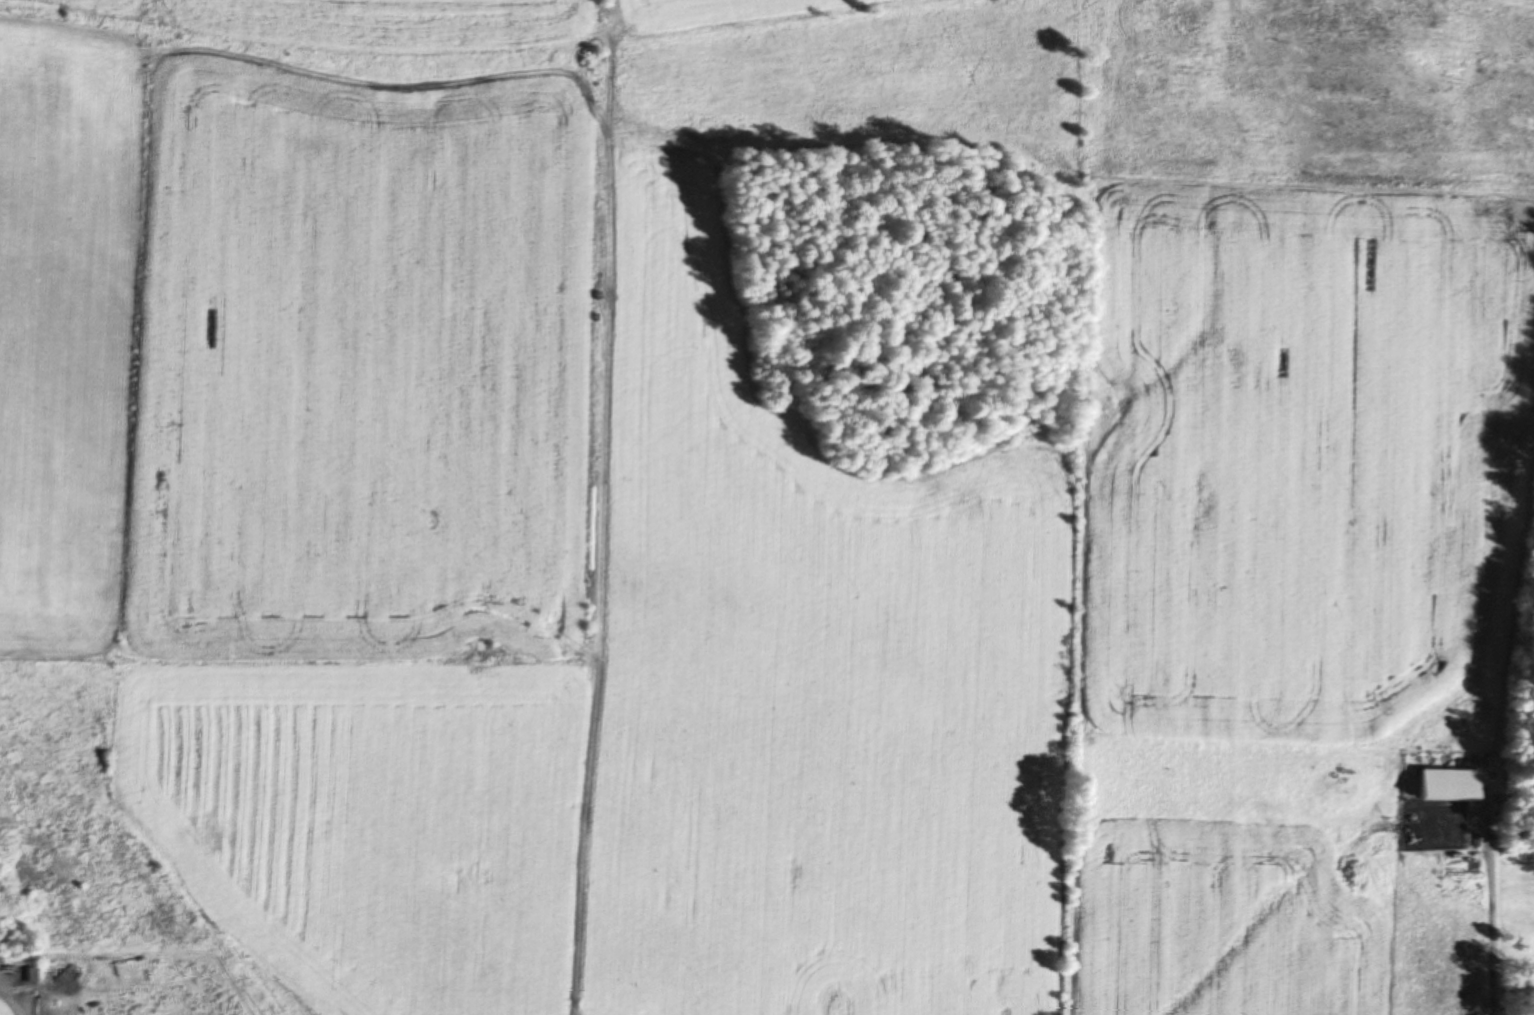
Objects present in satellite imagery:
building: (1444, 783)

